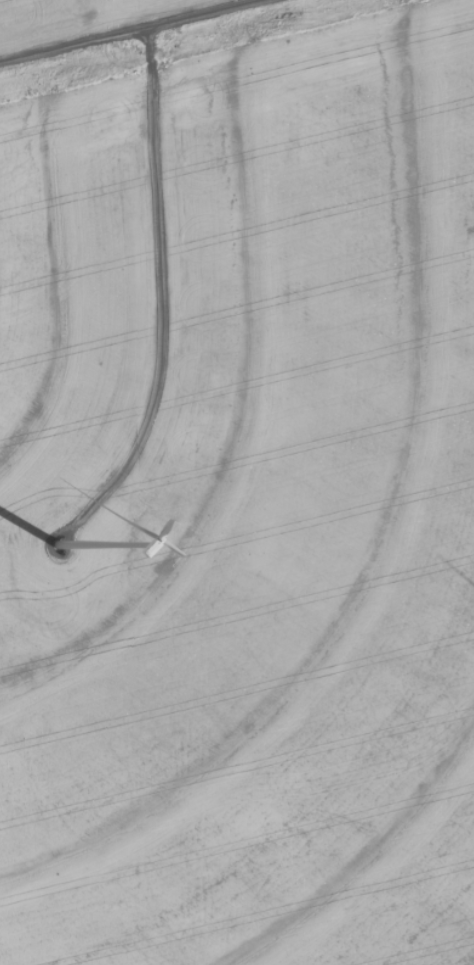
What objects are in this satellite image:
road: (86, 21)
wind turbine: (55, 546)

